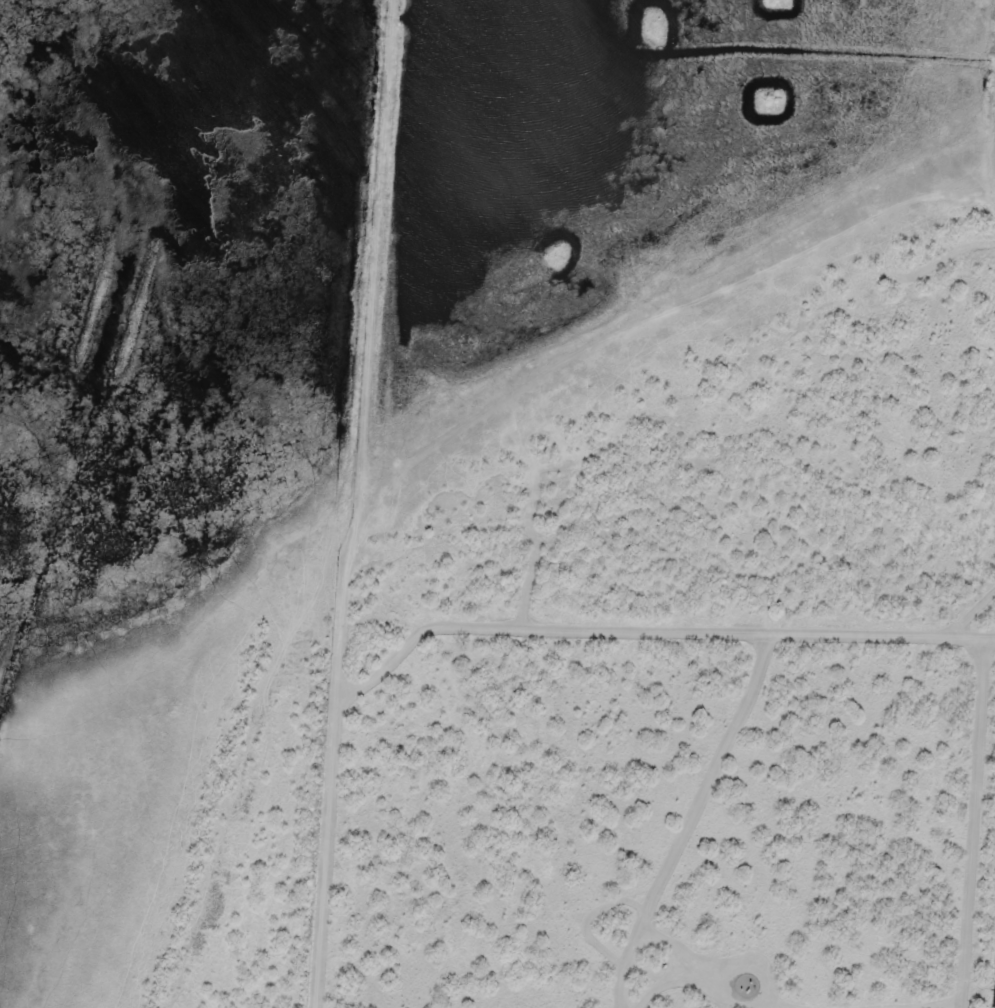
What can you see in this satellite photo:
road: (462, 440)

